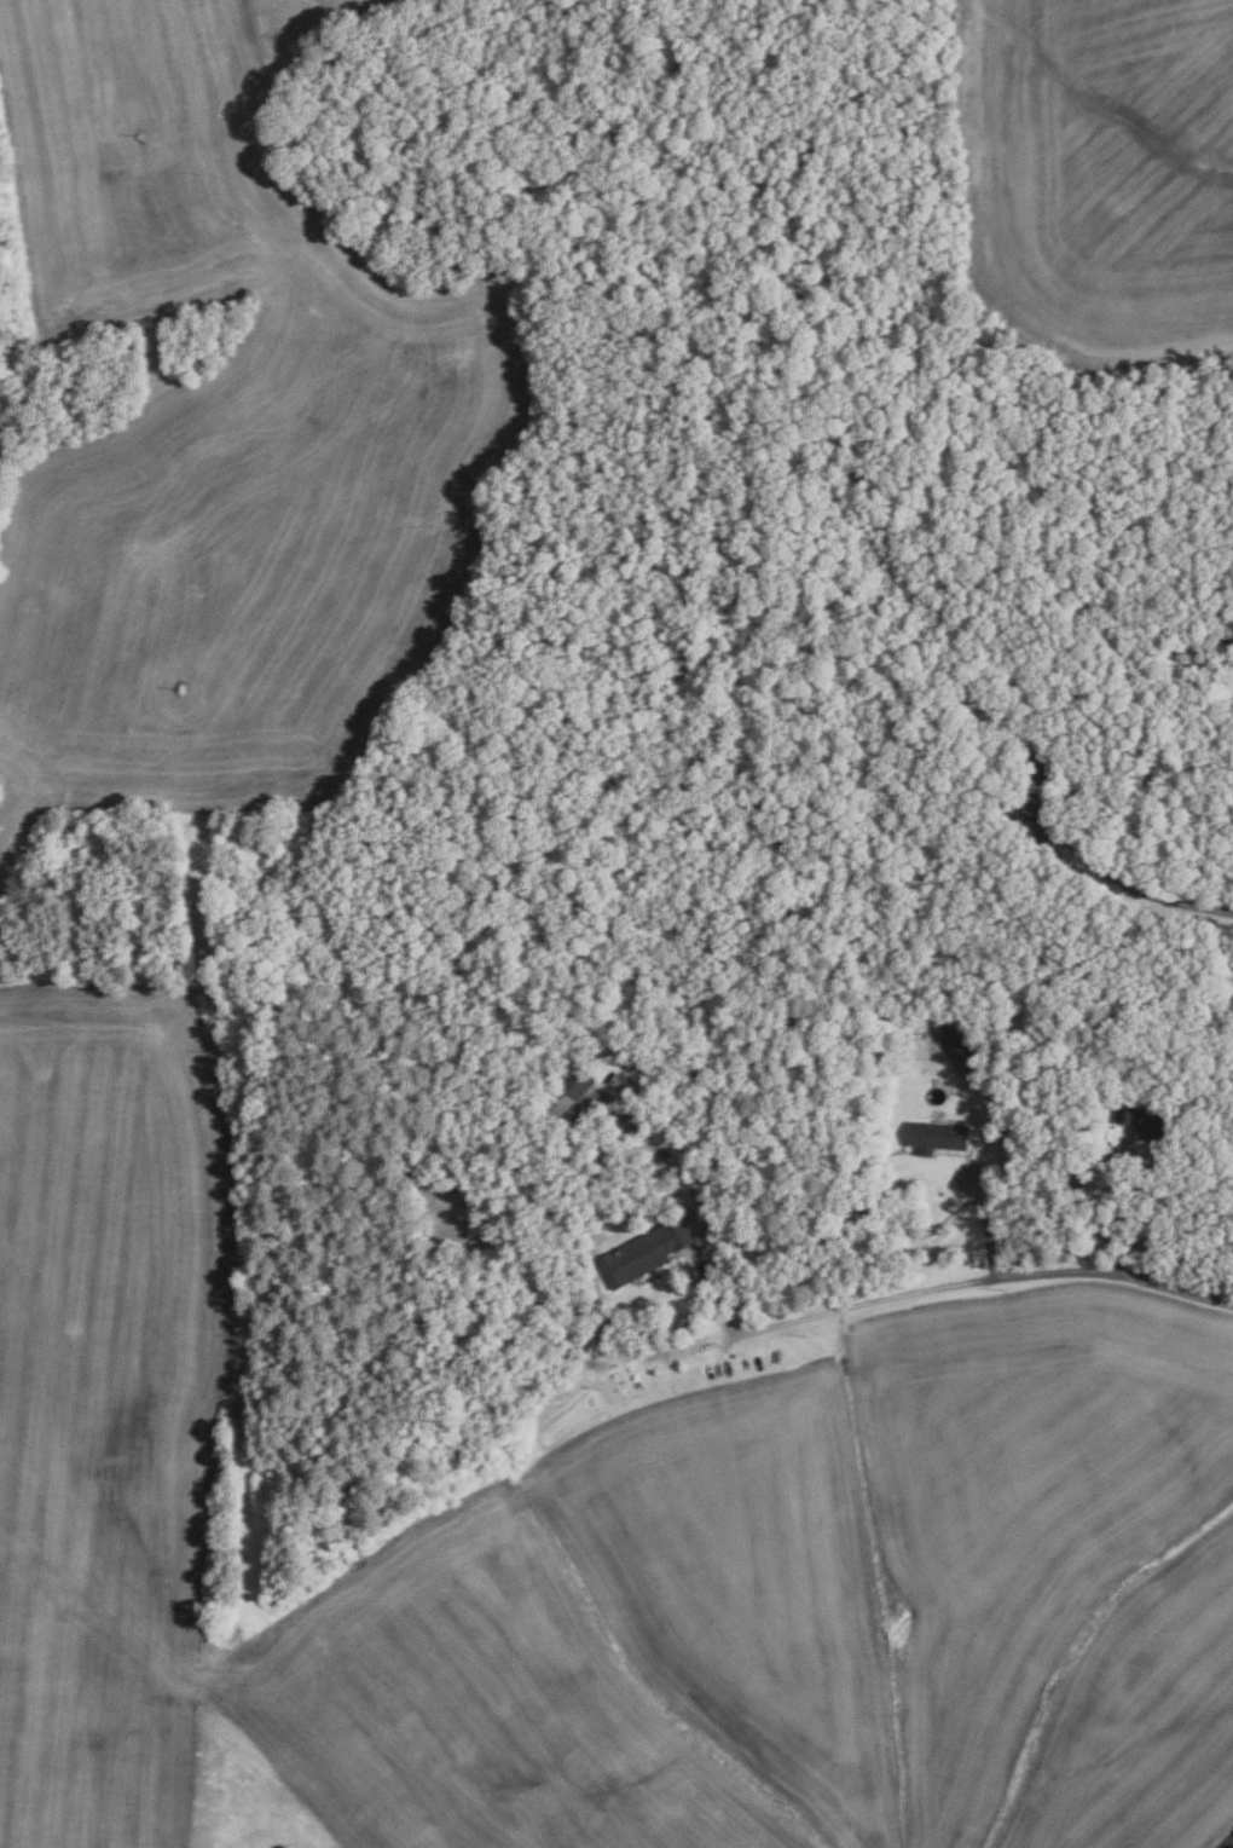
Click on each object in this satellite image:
crop: (360, 7)
crop: (233, 450)
building: (1041, 767)
building: (1023, 830)
road: (1127, 884)
building: (565, 1091)
building: (1146, 1122)
building: (934, 1136)
building: (557, 1155)
road: (1113, 1174)
road: (982, 1222)
building: (643, 1251)
road: (851, 1305)
crop: (596, 1547)
road: (1227, 1843)
road: (1232, 1843)

